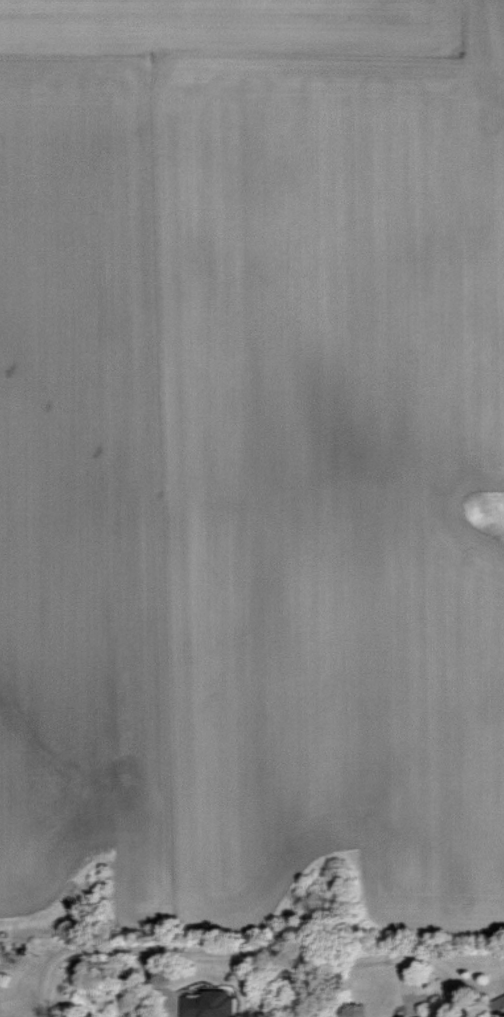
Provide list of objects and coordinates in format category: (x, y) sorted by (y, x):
road: (252, 952)
building: (209, 1005)
building: (500, 1005)

